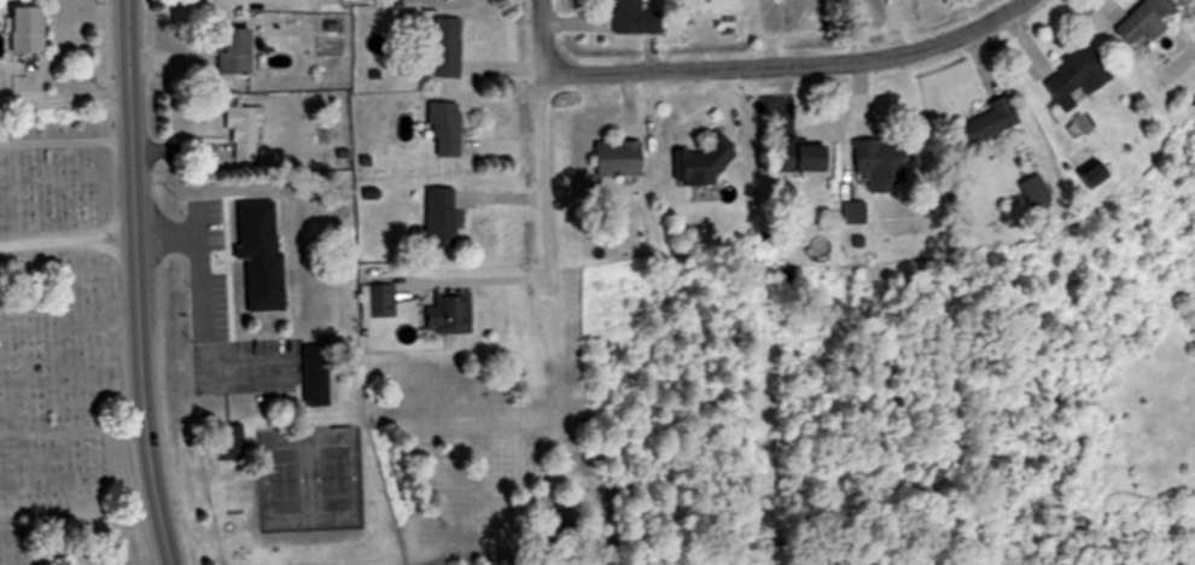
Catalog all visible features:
building: (640, 18)
building: (1136, 23)
building: (33, 29)
road: (536, 34)
building: (451, 47)
building: (241, 52)
road: (787, 66)
building: (1071, 76)
building: (995, 118)
building: (450, 129)
road: (64, 141)
building: (252, 142)
building: (624, 158)
building: (809, 158)
road: (547, 162)
building: (886, 163)
building: (705, 164)
building: (1039, 193)
building: (861, 212)
building: (447, 216)
road: (66, 241)
building: (270, 281)
road: (134, 284)
building: (384, 301)
building: (454, 313)
park: (63, 355)

